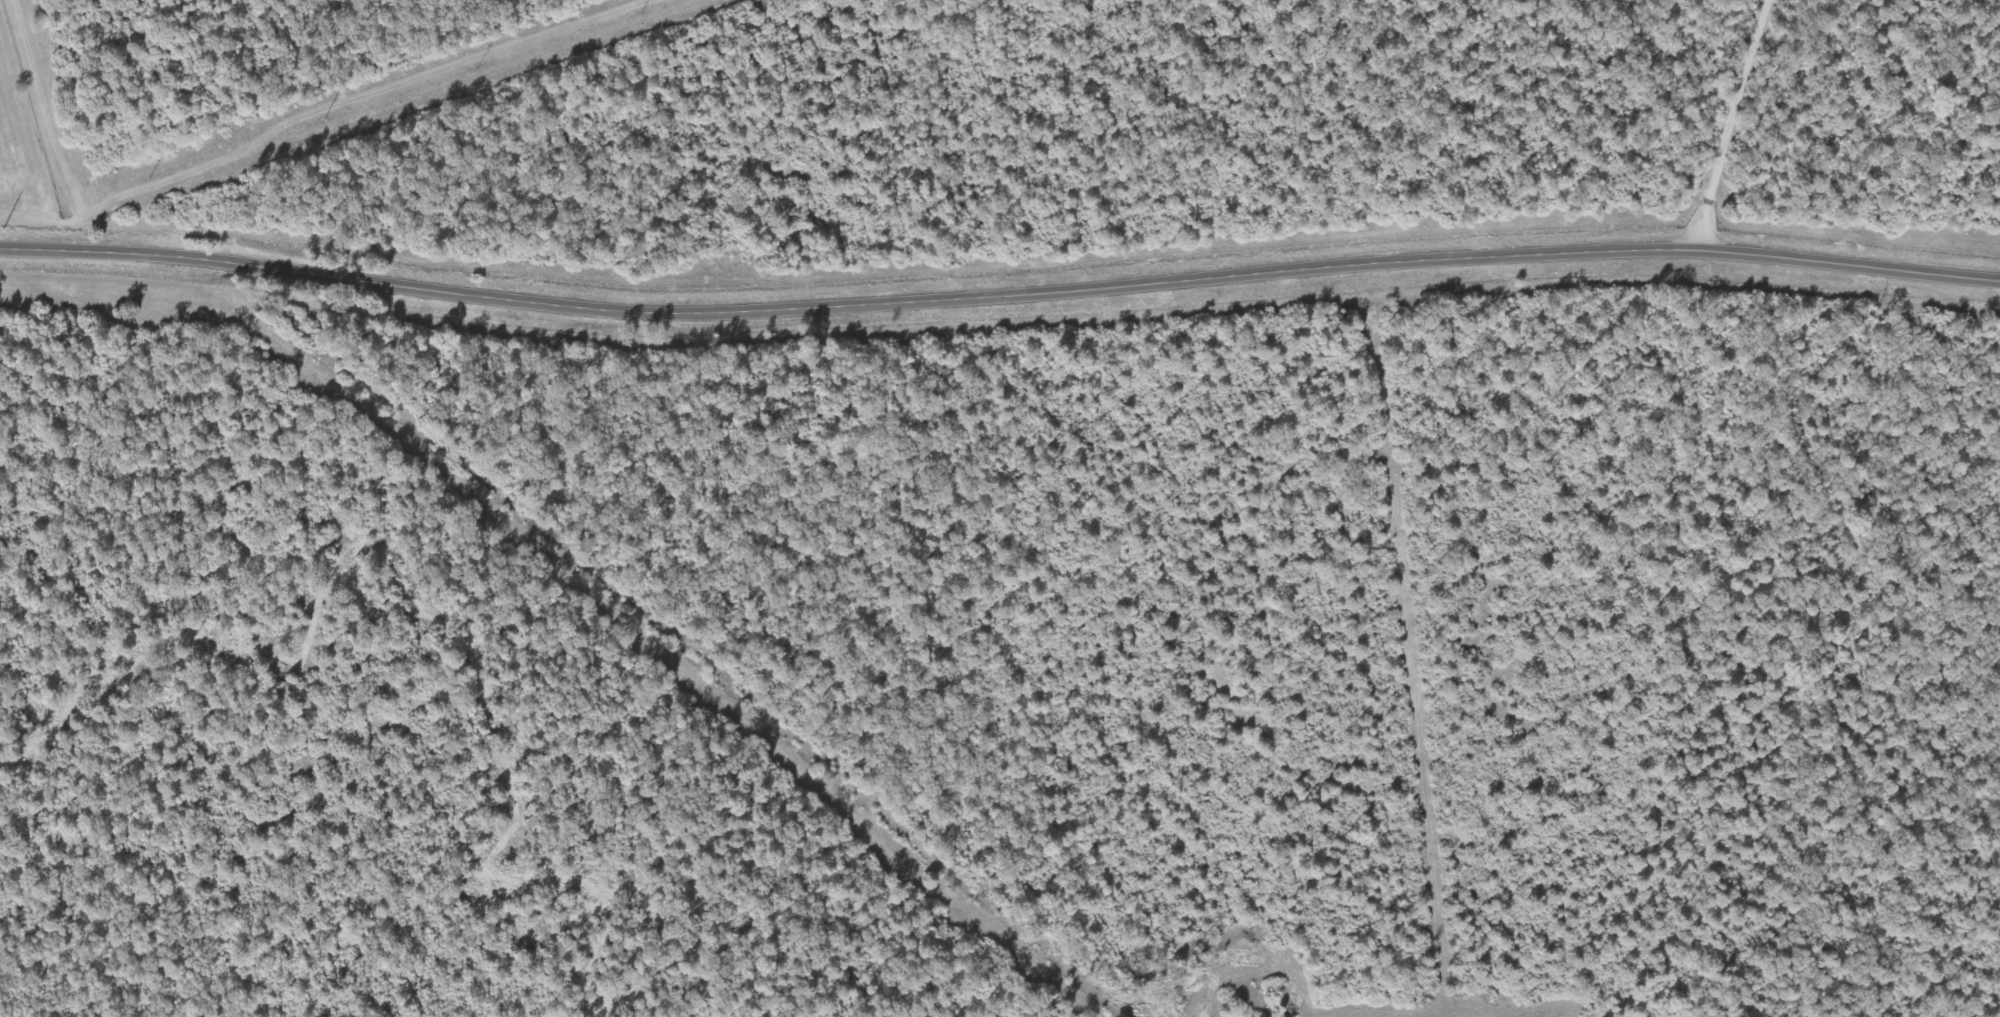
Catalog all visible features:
road: (1729, 124)
road: (999, 295)

